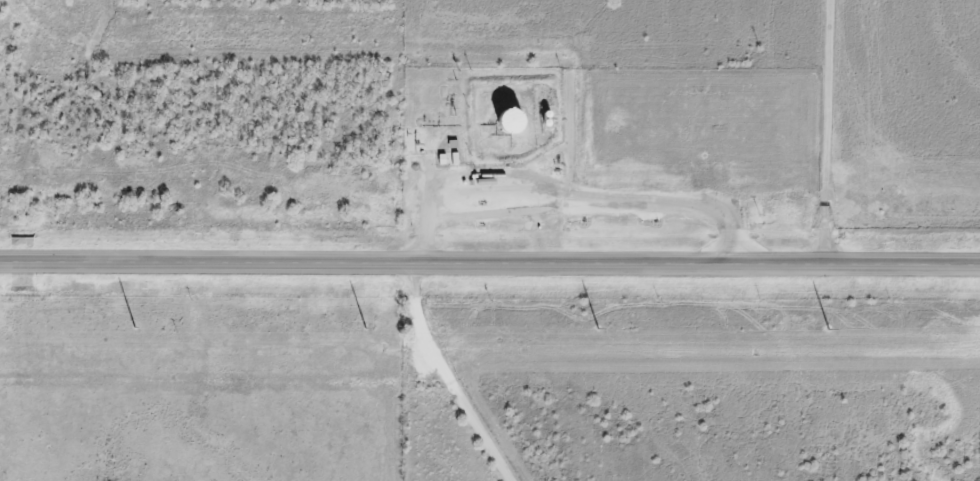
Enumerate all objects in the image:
road: (489, 261)
power tower: (136, 326)
power tower: (365, 326)
power tower: (599, 327)
power tower: (831, 328)
road: (437, 373)

